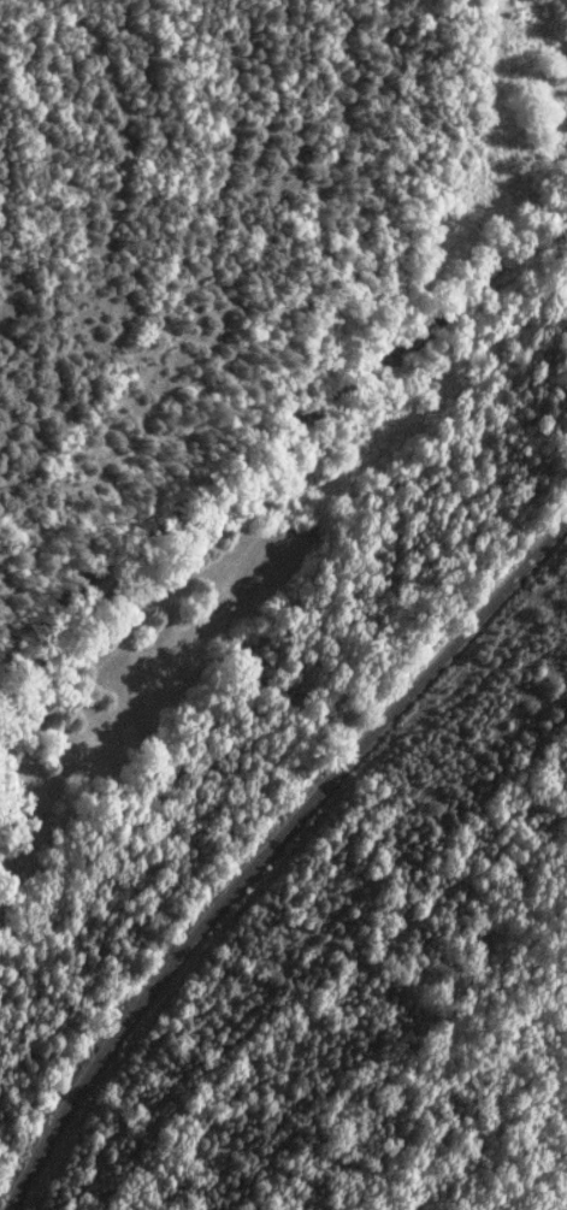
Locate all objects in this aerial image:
railway: (267, 850)

